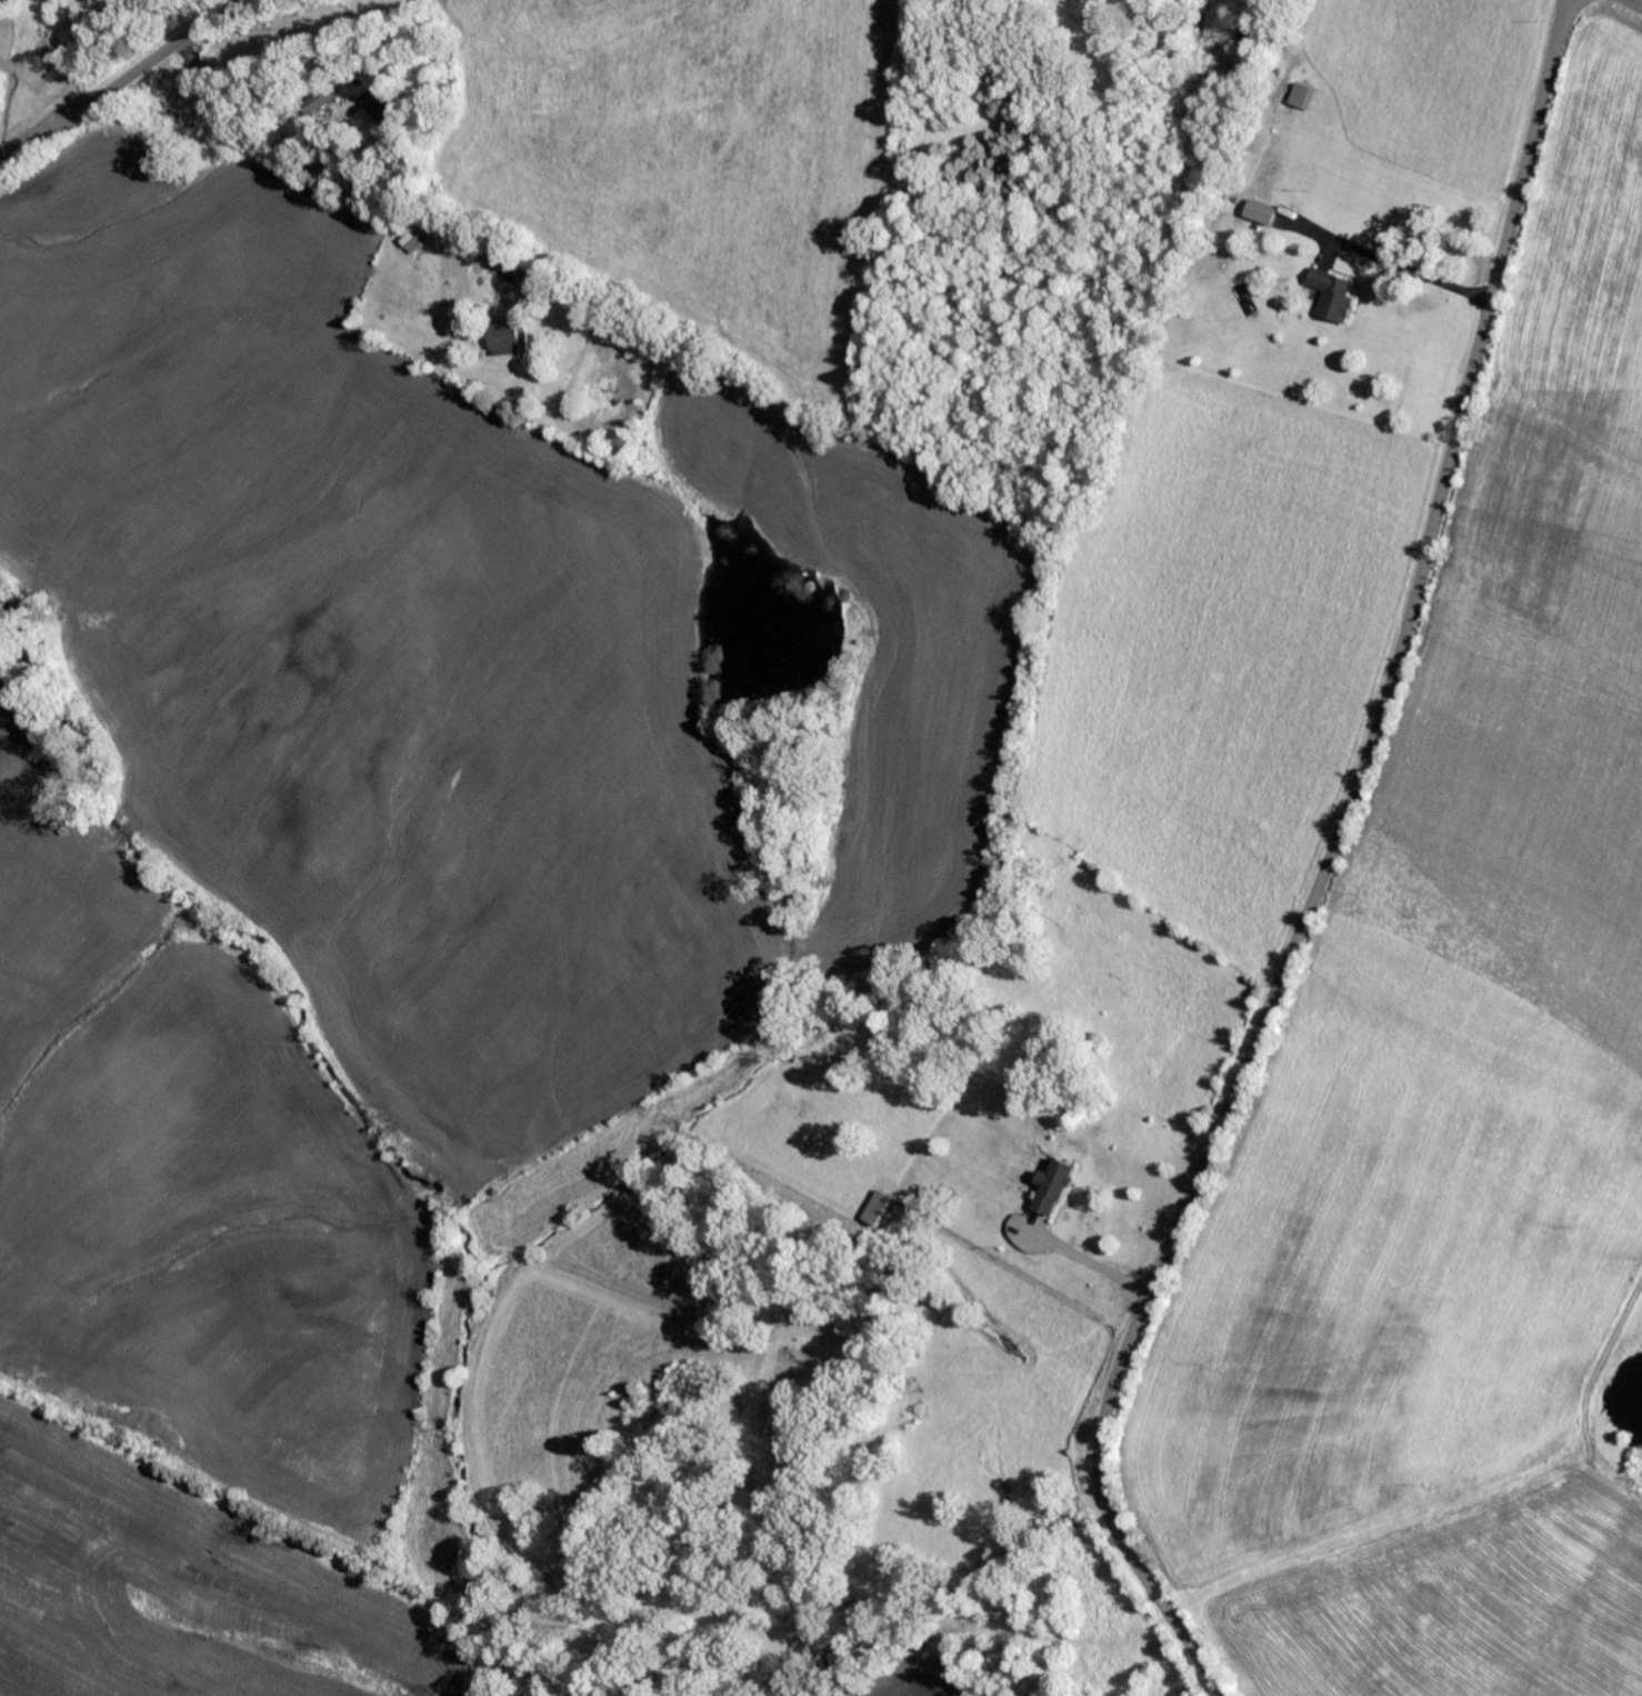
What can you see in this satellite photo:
road: (1635, 3)
road: (123, 81)
building: (1298, 98)
road: (293, 158)
building: (1258, 213)
building: (1330, 295)
building: (500, 332)
road: (1322, 868)
building: (1049, 1188)
building: (874, 1209)

